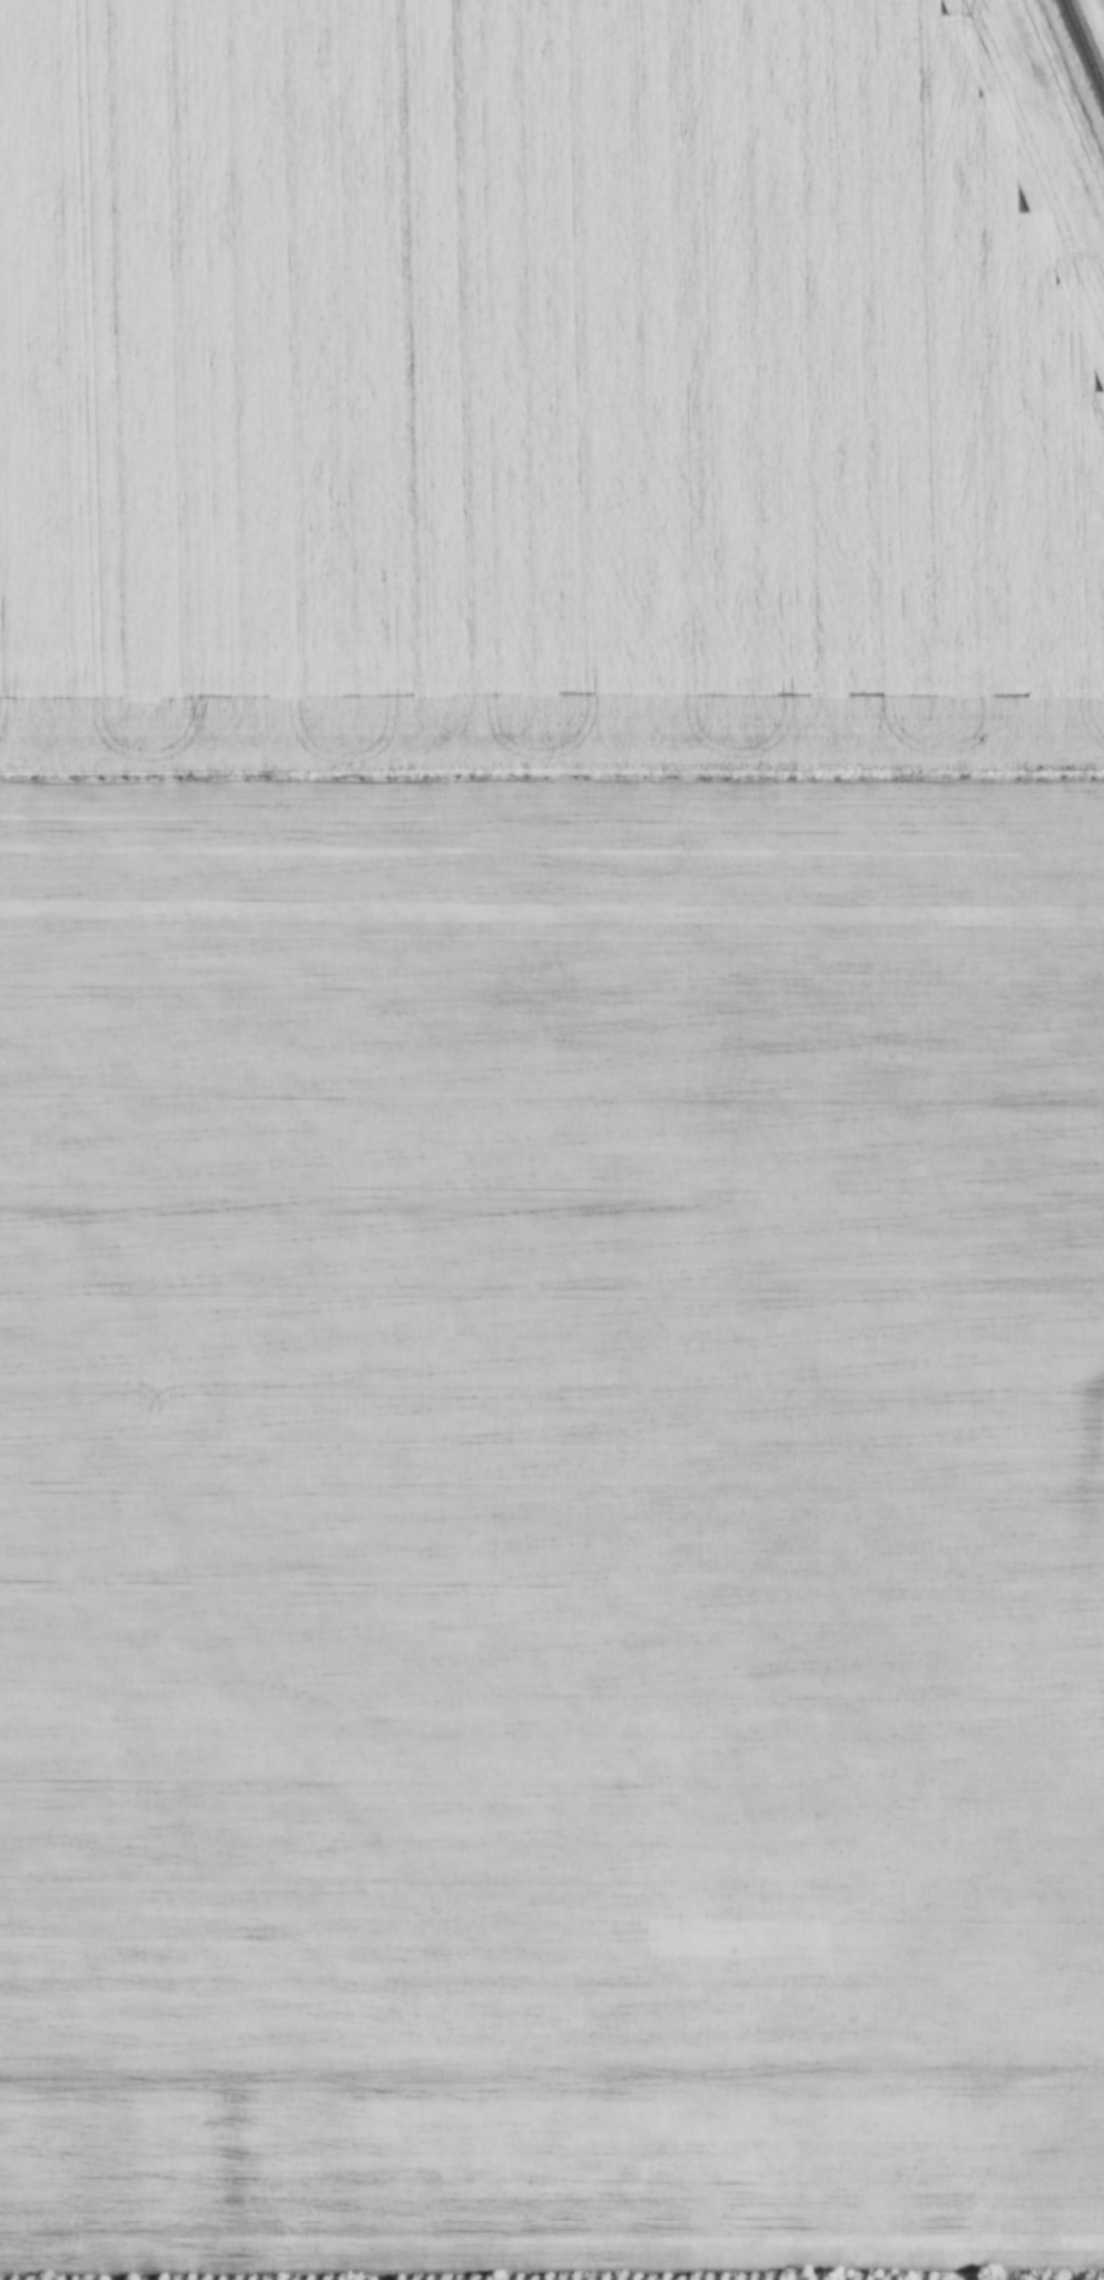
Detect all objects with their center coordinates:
railway: (1081, 53)

